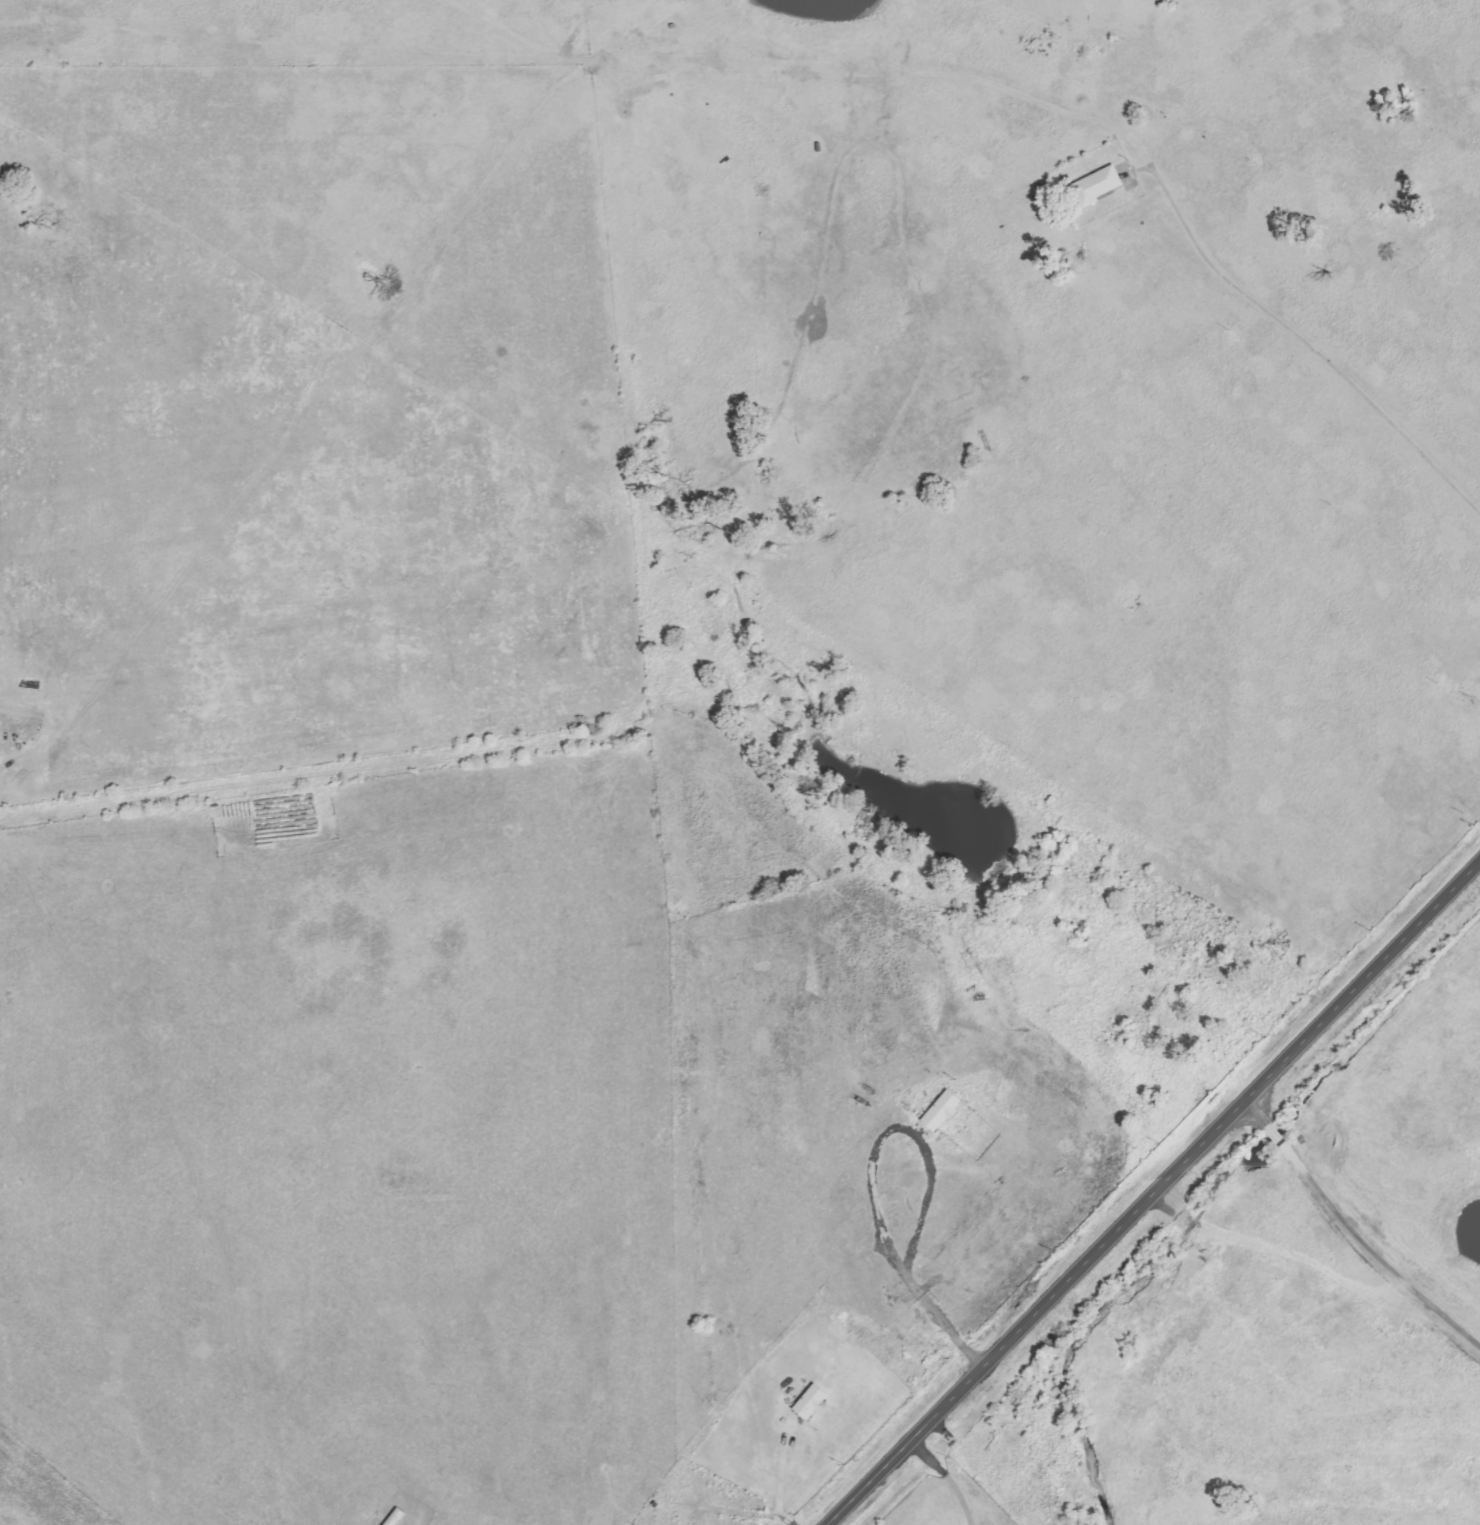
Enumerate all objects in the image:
building: (1097, 184)
building: (940, 1111)
road: (1155, 1193)
road: (1358, 1230)
building: (809, 1402)
road: (949, 1478)

